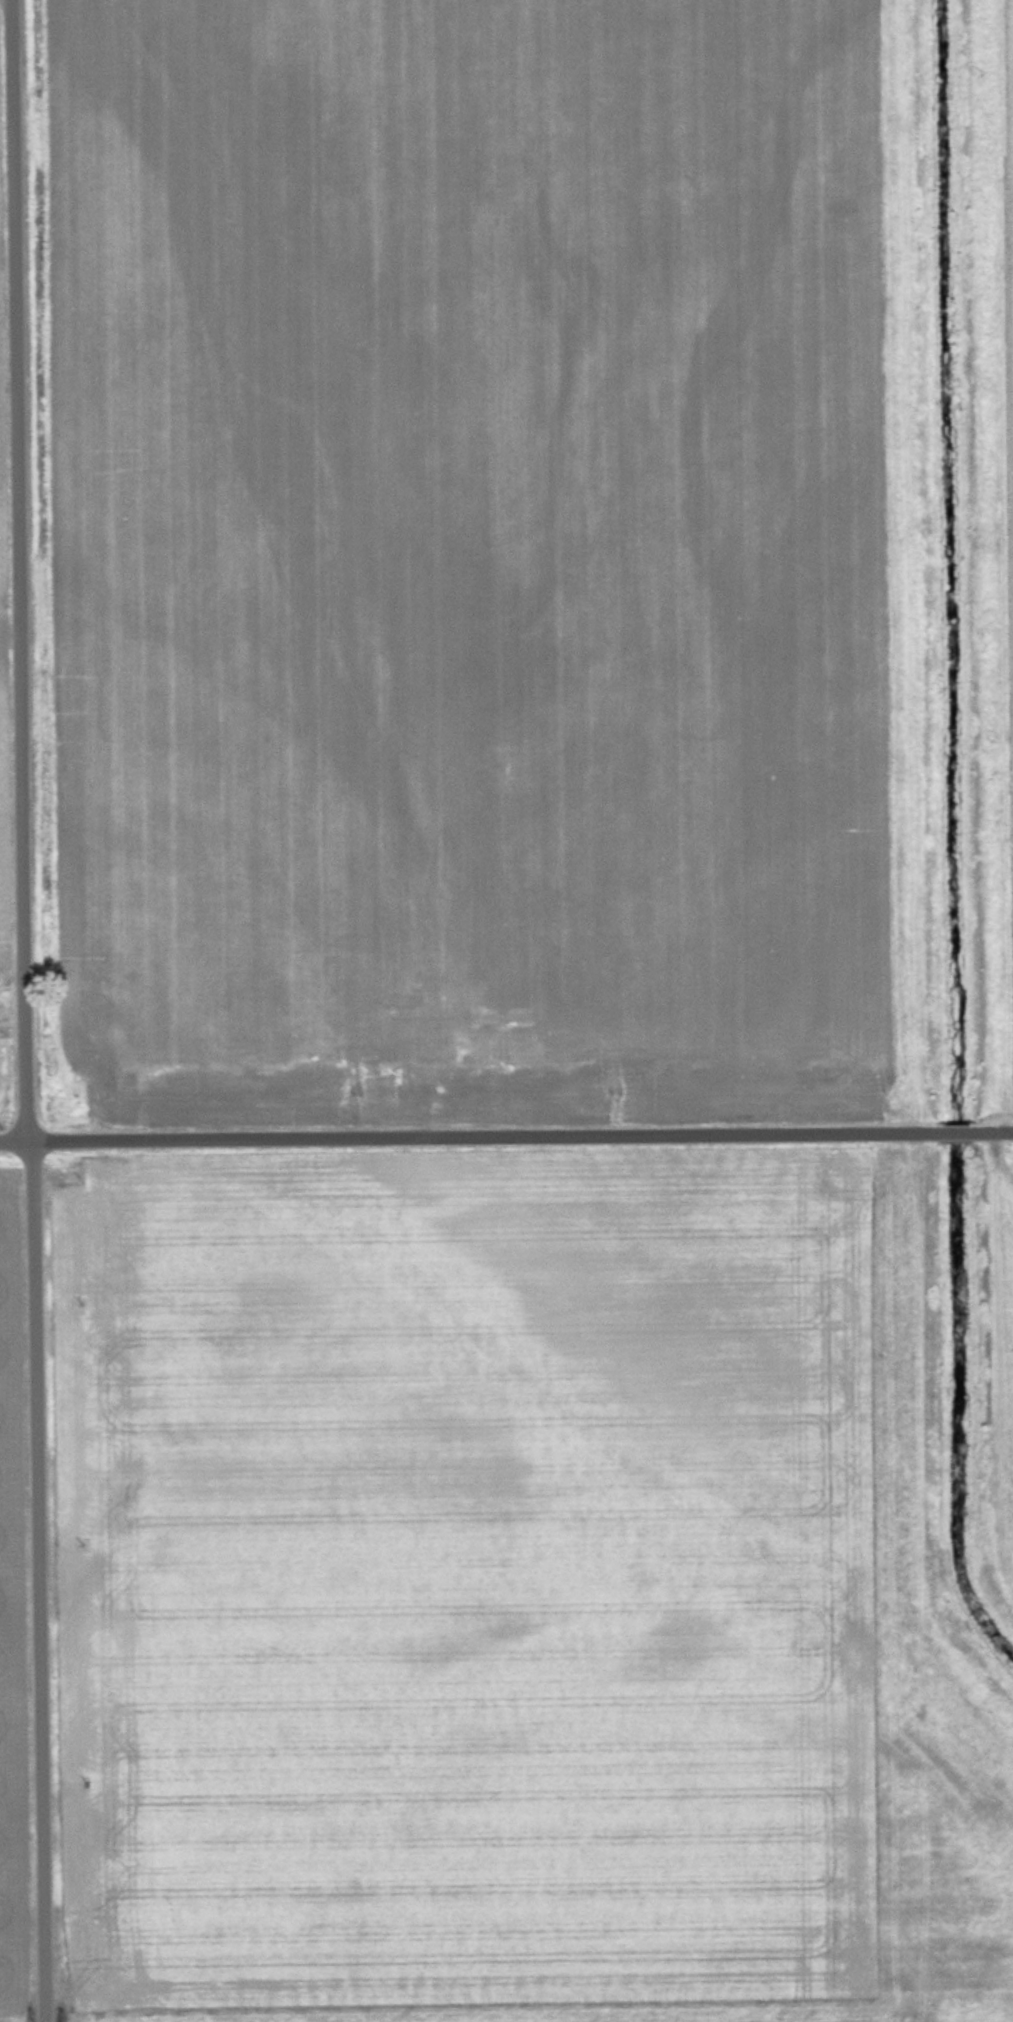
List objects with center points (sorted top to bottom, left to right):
road: (30, 1011)
road: (996, 1131)
road: (961, 1132)
road: (471, 1137)

